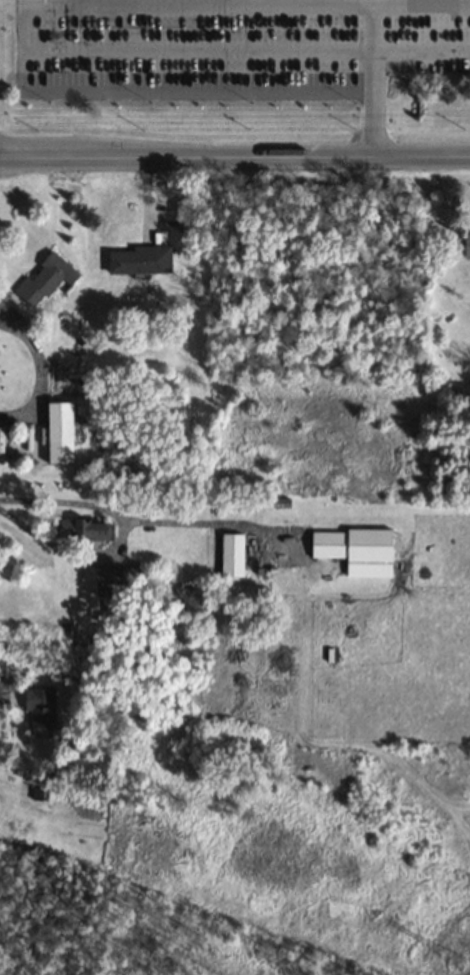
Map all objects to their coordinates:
road: (414, 2)
road: (359, 53)
road: (235, 158)
building: (466, 246)
building: (139, 260)
building: (44, 279)
building: (58, 422)
road: (138, 520)
building: (84, 530)
building: (349, 545)
road: (66, 553)
building: (230, 555)
building: (105, 577)
building: (38, 707)
power tower: (456, 959)

